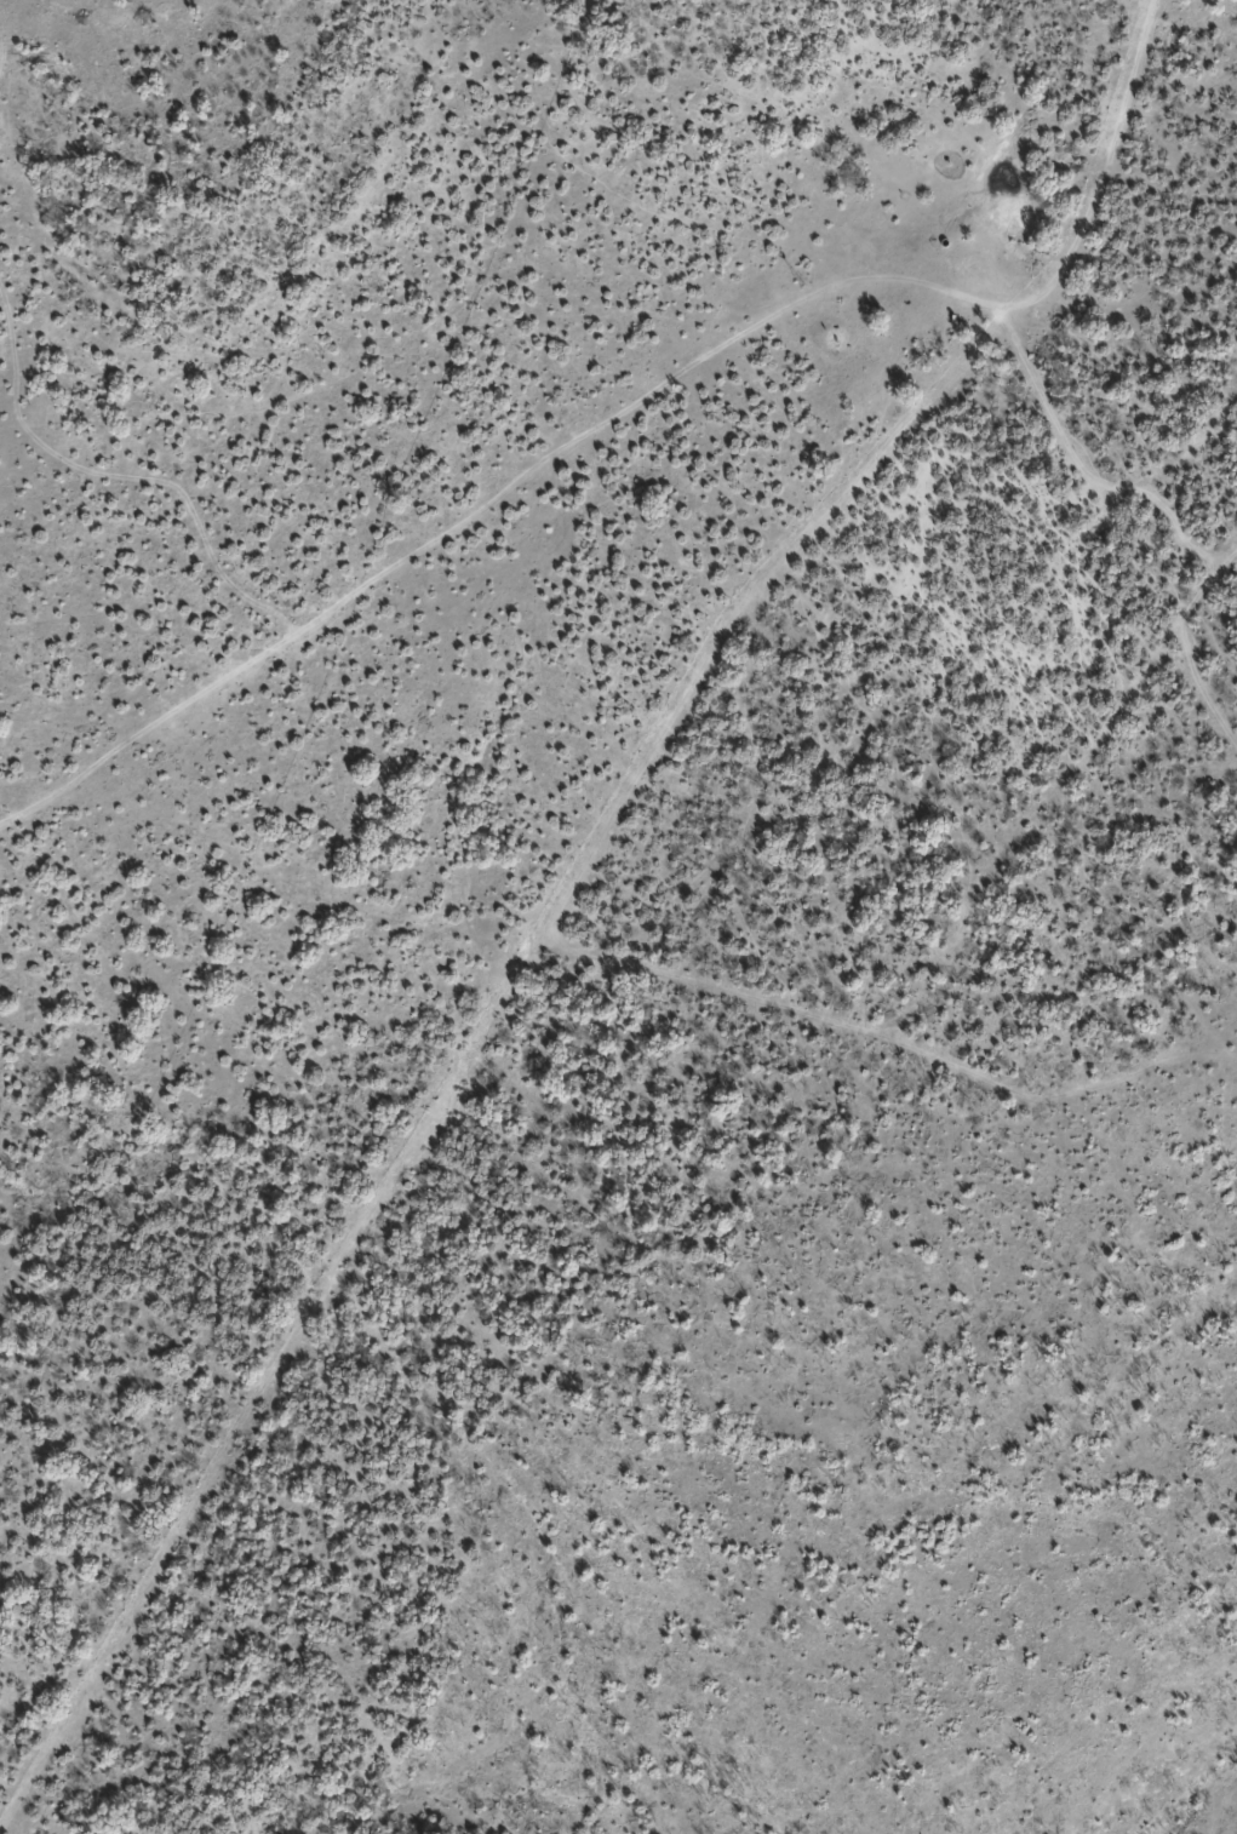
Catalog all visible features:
road: (418, 584)
road: (600, 1026)

